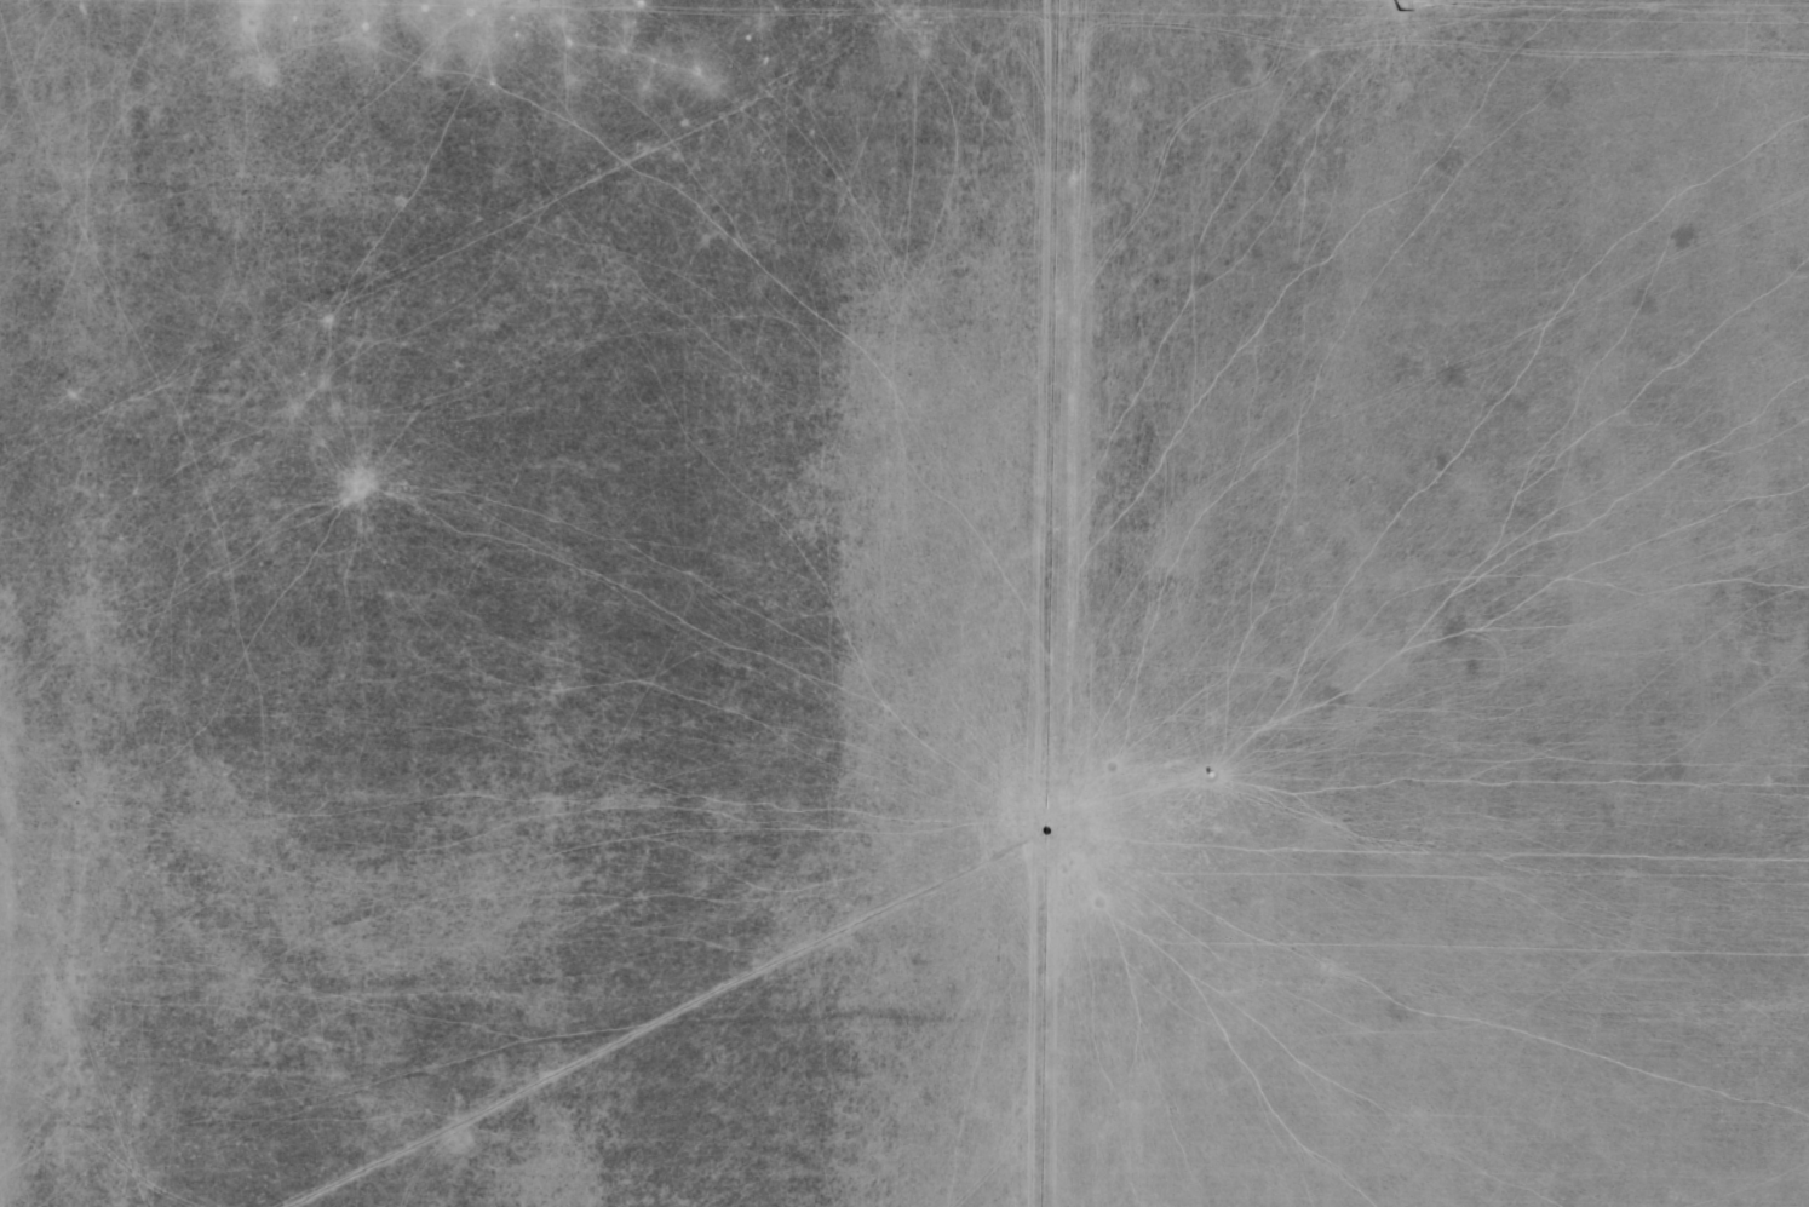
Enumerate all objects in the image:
power tower: (533, 1)
power tower: (1397, 10)

